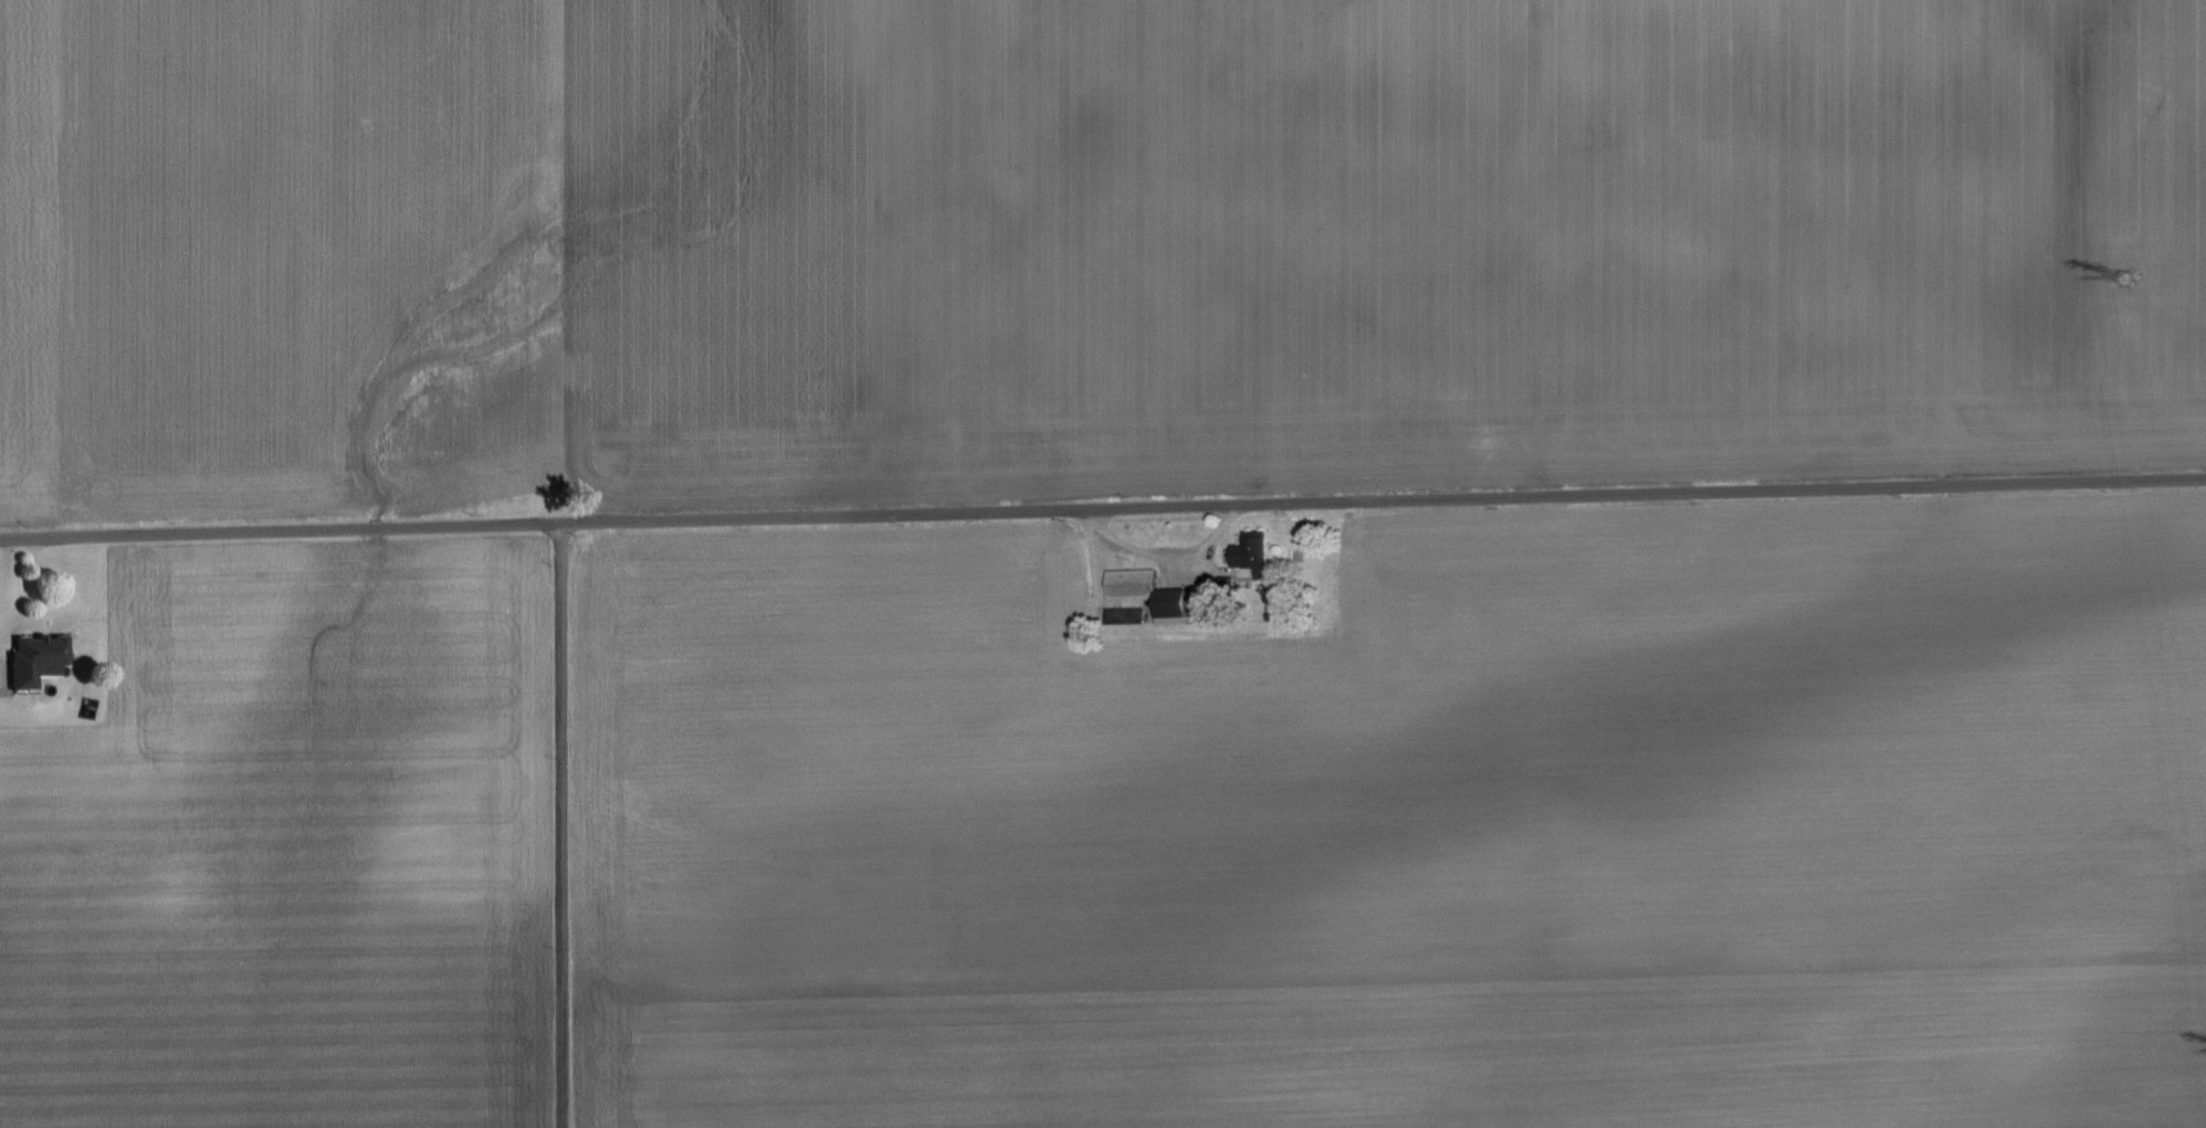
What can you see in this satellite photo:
power tower: (2134, 283)
road: (1102, 505)
road: (1160, 551)
building: (1134, 583)
building: (36, 660)
road: (560, 825)

